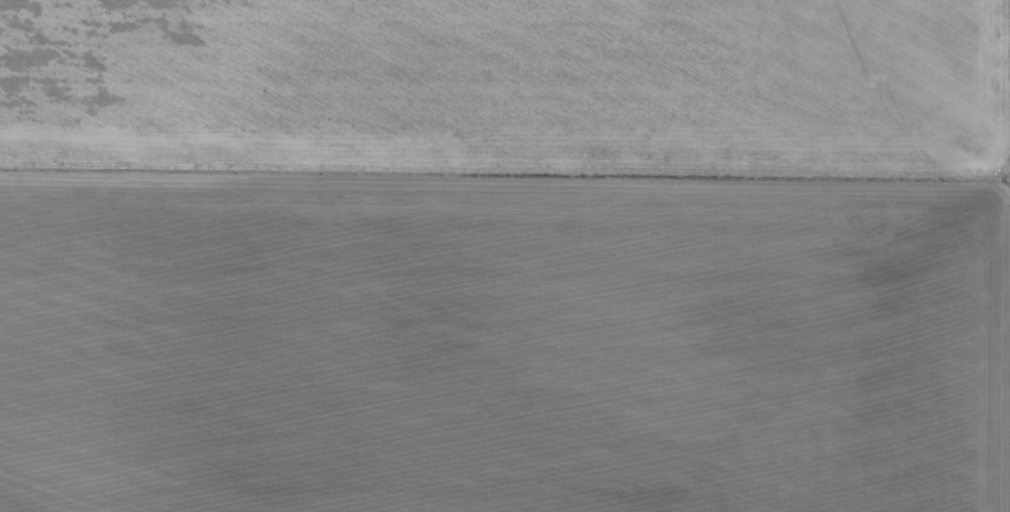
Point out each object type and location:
road: (1002, 256)

